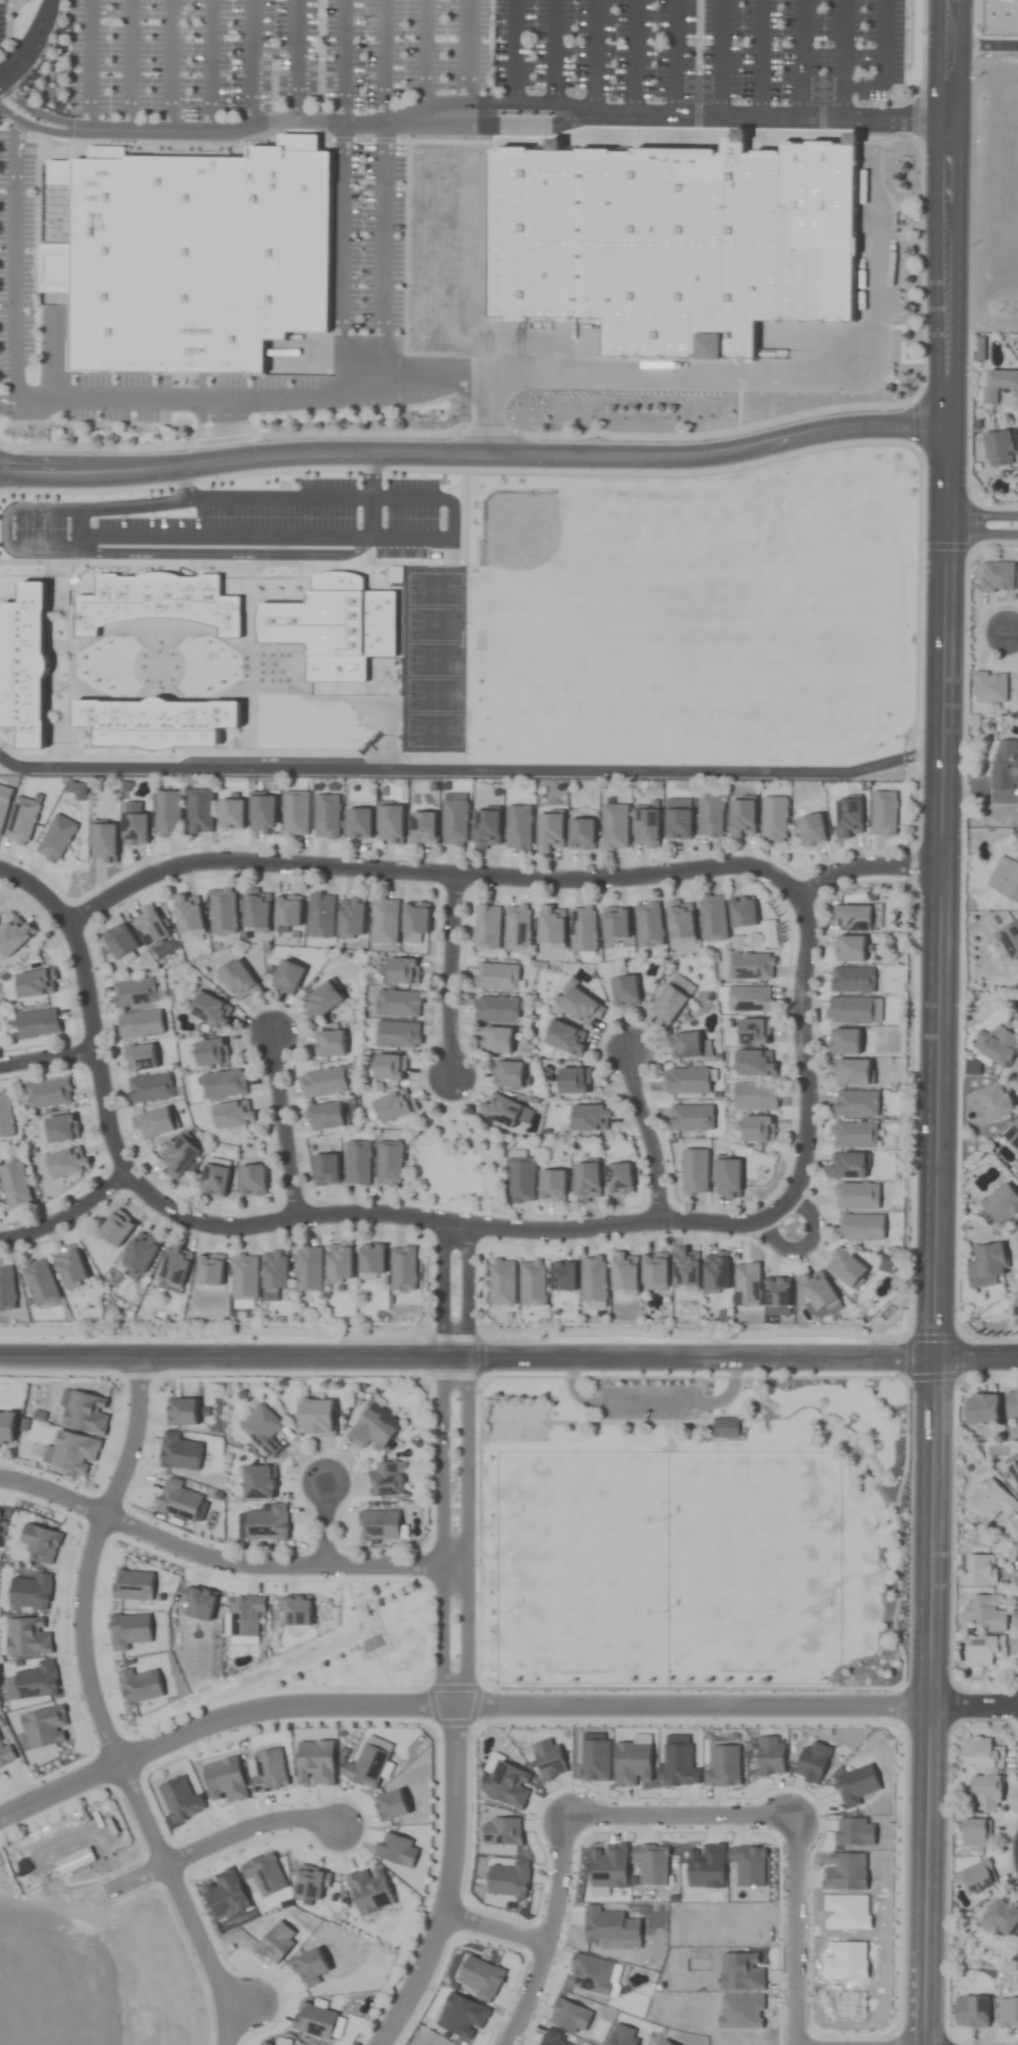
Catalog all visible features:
building: (1001, 18)
road: (954, 23)
road: (33, 43)
road: (986, 47)
road: (635, 57)
road: (515, 104)
road: (79, 129)
building: (651, 239)
building: (197, 263)
road: (755, 375)
building: (999, 384)
road: (325, 397)
road: (485, 415)
road: (223, 429)
building: (1000, 449)
road: (476, 455)
road: (182, 480)
road: (123, 499)
road: (983, 511)
road: (983, 531)
building: (998, 577)
road: (1009, 635)
building: (992, 687)
building: (1005, 764)
building: (200, 810)
building: (167, 813)
building: (295, 813)
building: (884, 813)
building: (230, 814)
building: (261, 814)
building: (326, 815)
building: (710, 815)
building: (742, 817)
building: (848, 817)
building: (774, 818)
building: (454, 819)
building: (358, 822)
building: (389, 823)
building: (677, 823)
building: (614, 826)
building: (422, 827)
building: (518, 827)
building: (645, 827)
building: (134, 829)
building: (486, 829)
building: (810, 830)
building: (550, 831)
building: (581, 834)
building: (103, 842)
road: (942, 876)
road: (507, 879)
building: (1005, 879)
building: (256, 910)
building: (222, 911)
building: (287, 911)
building: (742, 912)
building: (187, 913)
building: (321, 915)
building: (351, 917)
building: (415, 918)
building: (713, 918)
building: (855, 918)
building: (385, 921)
building: (680, 921)
building: (615, 923)
building: (649, 925)
building: (150, 926)
building: (487, 927)
building: (518, 927)
building: (551, 927)
building: (584, 929)
building: (14, 935)
building: (1009, 939)
building: (119, 941)
building: (850, 948)
building: (751, 966)
building: (402, 970)
building: (287, 977)
building: (496, 977)
road: (449, 979)
building: (852, 979)
building: (238, 980)
building: (35, 983)
building: (624, 991)
building: (134, 993)
building: (672, 998)
building: (749, 1000)
building: (322, 1001)
building: (398, 1003)
road: (88, 1007)
building: (581, 1007)
building: (849, 1009)
building: (495, 1010)
building: (211, 1011)
crop: (509, 1022)
building: (36, 1023)
building: (140, 1024)
building: (754, 1031)
building: (397, 1034)
building: (565, 1038)
building: (496, 1040)
building: (844, 1041)
building: (329, 1043)
building: (686, 1045)
building: (1001, 1046)
building: (211, 1052)
road: (804, 1055)
building: (140, 1057)
road: (47, 1058)
building: (754, 1062)
building: (389, 1066)
building: (850, 1071)
building: (507, 1074)
building: (573, 1080)
building: (687, 1080)
building: (323, 1082)
building: (223, 1084)
building: (149, 1088)
building: (49, 1093)
building: (755, 1096)
building: (856, 1103)
building: (990, 1103)
building: (395, 1105)
building: (500, 1111)
building: (233, 1114)
building: (6, 1115)
building: (325, 1116)
building: (590, 1117)
building: (691, 1117)
building: (153, 1123)
road: (283, 1127)
building: (61, 1128)
building: (757, 1128)
road: (645, 1134)
building: (854, 1134)
building: (1012, 1136)
building: (178, 1156)
building: (357, 1162)
building: (67, 1163)
building: (389, 1163)
building: (847, 1165)
building: (324, 1169)
building: (694, 1171)
building: (727, 1177)
building: (521, 1179)
building: (618, 1179)
building: (213, 1180)
building: (252, 1180)
building: (586, 1181)
building: (15, 1185)
building: (552, 1185)
building: (857, 1195)
building: (1001, 1204)
road: (66, 1214)
road: (446, 1223)
building: (861, 1226)
building: (116, 1227)
road: (805, 1242)
building: (141, 1252)
building: (371, 1259)
building: (339, 1261)
building: (70, 1266)
building: (175, 1266)
building: (986, 1266)
building: (309, 1268)
building: (403, 1268)
building: (656, 1269)
building: (687, 1269)
building: (846, 1269)
building: (209, 1270)
building: (275, 1271)
building: (626, 1273)
building: (718, 1273)
building: (245, 1277)
building: (40, 1282)
building: (7, 1289)
road: (457, 1291)
building: (1015, 1313)
road: (467, 1358)
road: (977, 1358)
building: (1012, 1406)
building: (981, 1409)
building: (316, 1417)
building: (374, 1428)
building: (725, 1428)
building: (5, 1429)
building: (263, 1429)
building: (1014, 1470)
building: (388, 1479)
building: (259, 1482)
road: (52, 1493)
building: (992, 1501)
road: (325, 1524)
road: (442, 1531)
road: (467, 1531)
park: (690, 1535)
road: (280, 1565)
building: (981, 1570)
building: (985, 1613)
building: (984, 1650)
road: (974, 1704)
road: (716, 1705)
road: (99, 1711)
road: (240, 1715)
building: (982, 1754)
building: (986, 1793)
road: (569, 1825)
road: (250, 1828)
building: (976, 1833)
building: (64, 1872)
road: (928, 1875)
building: (979, 1876)
road: (448, 1883)
building: (1002, 1915)
road: (496, 1926)
road: (793, 1935)
building: (971, 2012)
building: (1008, 2012)

